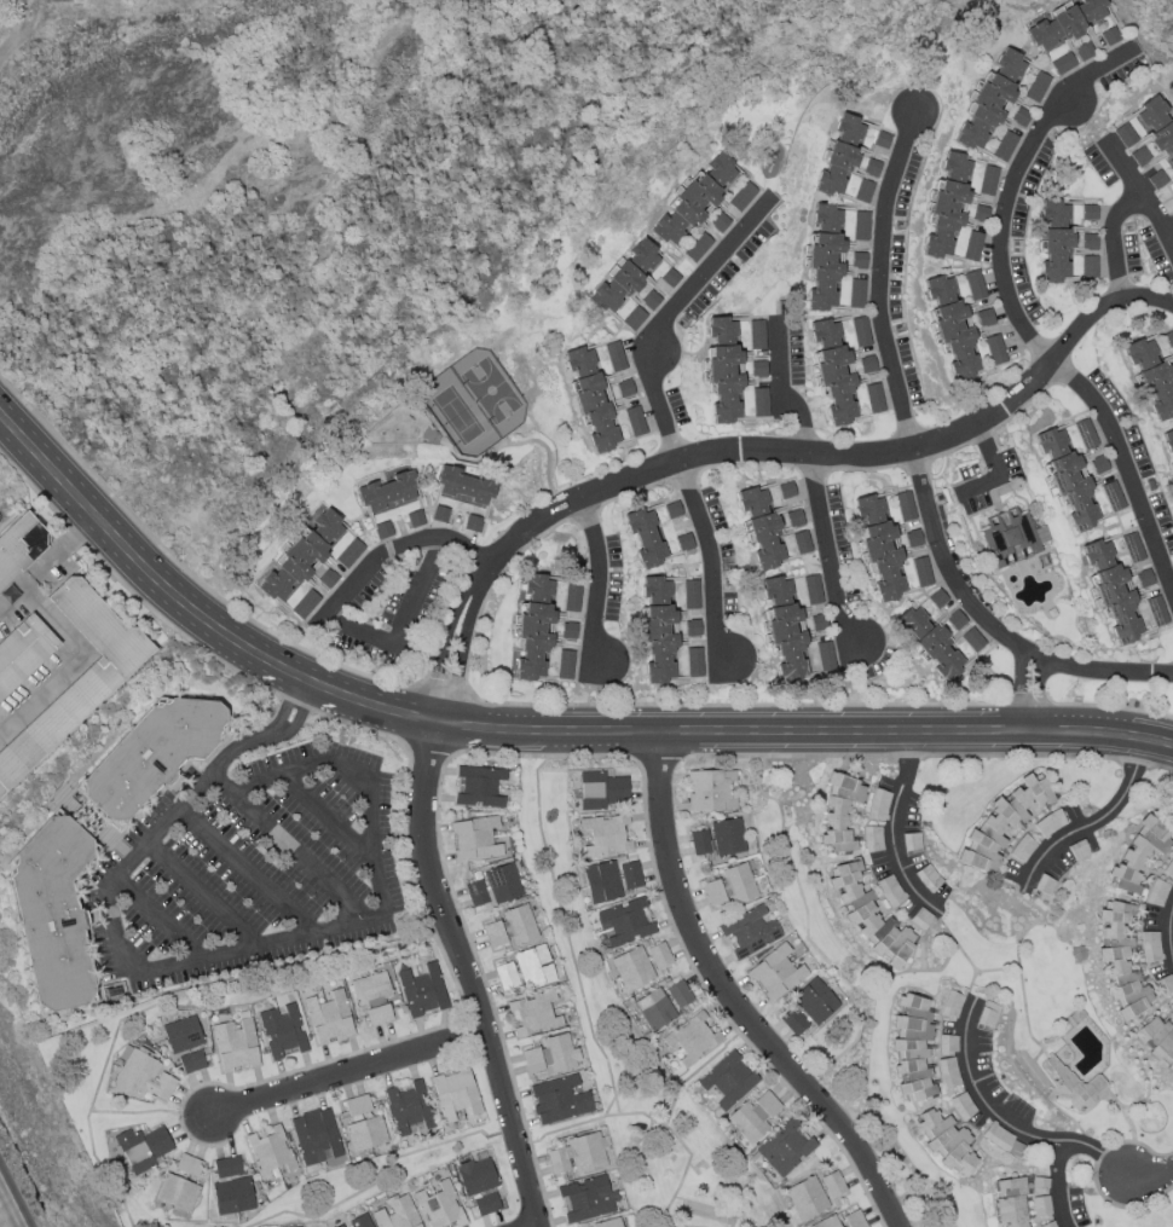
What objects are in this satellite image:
building: (1067, 23)
road: (17, 24)
building: (1084, 51)
building: (1063, 64)
building: (1038, 87)
building: (990, 99)
building: (850, 128)
building: (1157, 128)
building: (1123, 135)
building: (882, 140)
building: (1005, 146)
building: (836, 170)
building: (988, 180)
building: (862, 191)
road: (1139, 196)
building: (741, 197)
building: (693, 201)
building: (947, 206)
building: (1054, 210)
building: (1088, 212)
building: (1172, 215)
building: (825, 219)
building: (861, 227)
building: (1090, 242)
road: (1111, 242)
building: (972, 247)
building: (1056, 255)
building: (857, 260)
building: (1090, 267)
building: (824, 272)
building: (666, 280)
building: (975, 285)
building: (629, 287)
building: (855, 293)
road: (1146, 301)
building: (984, 318)
road: (1015, 318)
building: (950, 325)
building: (860, 331)
building: (757, 335)
building: (1167, 338)
building: (994, 349)
building: (616, 357)
building: (1172, 361)
building: (723, 369)
building: (833, 370)
building: (1150, 377)
building: (873, 398)
building: (591, 399)
park: (475, 403)
building: (761, 403)
road: (661, 413)
building: (636, 422)
building: (1085, 434)
road: (513, 445)
building: (1168, 446)
road: (810, 456)
road: (993, 468)
road: (917, 469)
building: (1067, 479)
road: (813, 484)
building: (463, 486)
road: (34, 488)
building: (388, 488)
building: (786, 490)
road: (636, 491)
building: (903, 507)
road: (562, 508)
building: (671, 510)
building: (439, 514)
road: (586, 514)
building: (415, 519)
building: (793, 519)
building: (472, 523)
building: (759, 527)
building: (383, 531)
road: (77, 536)
building: (645, 537)
building: (912, 538)
building: (1011, 538)
building: (683, 542)
building: (801, 542)
building: (21, 546)
building: (878, 548)
road: (392, 549)
road: (59, 554)
building: (349, 554)
building: (301, 556)
building: (920, 572)
building: (327, 578)
road: (193, 579)
road: (596, 581)
building: (811, 590)
building: (1110, 591)
building: (690, 595)
building: (571, 597)
road: (12, 602)
building: (304, 603)
building: (954, 620)
building: (816, 623)
road: (401, 624)
building: (692, 627)
building: (782, 629)
road: (450, 630)
building: (532, 630)
building: (568, 630)
building: (658, 630)
road: (178, 632)
road: (466, 635)
building: (23, 653)
road: (73, 660)
building: (693, 661)
building: (565, 665)
building: (77, 679)
road: (429, 691)
road: (1018, 691)
road: (1038, 698)
road: (463, 699)
road: (1028, 699)
road: (295, 705)
road: (628, 705)
road: (1105, 708)
road: (444, 712)
road: (531, 736)
road: (431, 747)
building: (154, 754)
road: (790, 756)
road: (913, 756)
road: (1025, 756)
road: (567, 757)
road: (654, 757)
road: (1134, 765)
road: (1161, 768)
building: (478, 787)
building: (600, 791)
building: (706, 791)
road: (405, 793)
building: (879, 805)
building: (840, 812)
road: (329, 816)
road: (1092, 820)
building: (1050, 823)
building: (1000, 824)
road: (891, 827)
building: (605, 835)
building: (718, 838)
building: (474, 839)
building: (1022, 849)
building: (1138, 853)
road: (299, 855)
parking lot: (252, 864)
road: (245, 868)
building: (1168, 868)
building: (630, 875)
building: (601, 882)
building: (736, 882)
road: (797, 884)
building: (493, 886)
building: (890, 890)
road: (203, 891)
building: (712, 892)
building: (1156, 893)
road: (1022, 898)
building: (54, 914)
road: (160, 915)
building: (868, 915)
building: (919, 919)
building: (625, 922)
building: (519, 925)
building: (750, 931)
road: (921, 932)
road: (1169, 932)
building: (493, 934)
road: (567, 936)
building: (1149, 947)
road: (225, 950)
road: (963, 954)
building: (659, 955)
building: (1120, 961)
building: (533, 967)
building: (631, 968)
road: (995, 971)
building: (775, 973)
road: (977, 974)
building: (505, 976)
road: (463, 978)
building: (1165, 985)
building: (422, 991)
road: (872, 994)
building: (678, 995)
road: (972, 995)
building: (372, 997)
road: (168, 1001)
building: (814, 1001)
road: (727, 1002)
building: (950, 1005)
building: (1171, 1007)
building: (654, 1009)
building: (533, 1013)
building: (988, 1014)
building: (329, 1018)
building: (796, 1021)
road: (1027, 1028)
building: (282, 1030)
building: (183, 1035)
building: (692, 1038)
building: (1156, 1041)
building: (235, 1044)
road: (1053, 1044)
building: (912, 1048)
road: (1133, 1051)
building: (551, 1055)
building: (191, 1061)
road: (319, 1065)
building: (947, 1072)
road: (346, 1075)
road: (693, 1075)
building: (141, 1077)
building: (728, 1080)
building: (1076, 1087)
road: (807, 1089)
building: (455, 1094)
building: (559, 1100)
road: (609, 1106)
building: (406, 1107)
road: (134, 1112)
road: (1125, 1112)
building: (753, 1117)
road: (653, 1119)
road: (1004, 1123)
building: (363, 1124)
building: (316, 1136)
road: (515, 1138)
building: (1002, 1140)
building: (946, 1142)
road: (1143, 1146)
building: (143, 1147)
building: (785, 1148)
road: (1088, 1148)
building: (270, 1152)
road: (1102, 1153)
building: (578, 1156)
building: (187, 1165)
road: (1151, 1171)
building: (475, 1176)
road: (379, 1181)
building: (832, 1185)
road: (1057, 1185)
building: (231, 1186)
building: (177, 1192)
building: (588, 1199)
building: (805, 1199)
building: (1010, 1203)
building: (486, 1204)
building: (1040, 1205)
building: (440, 1206)
road: (1120, 1209)
building: (398, 1212)
road: (4, 1219)
building: (854, 1220)
building: (358, 1222)
building: (826, 1222)
building: (608, 1223)
building: (1048, 1225)

